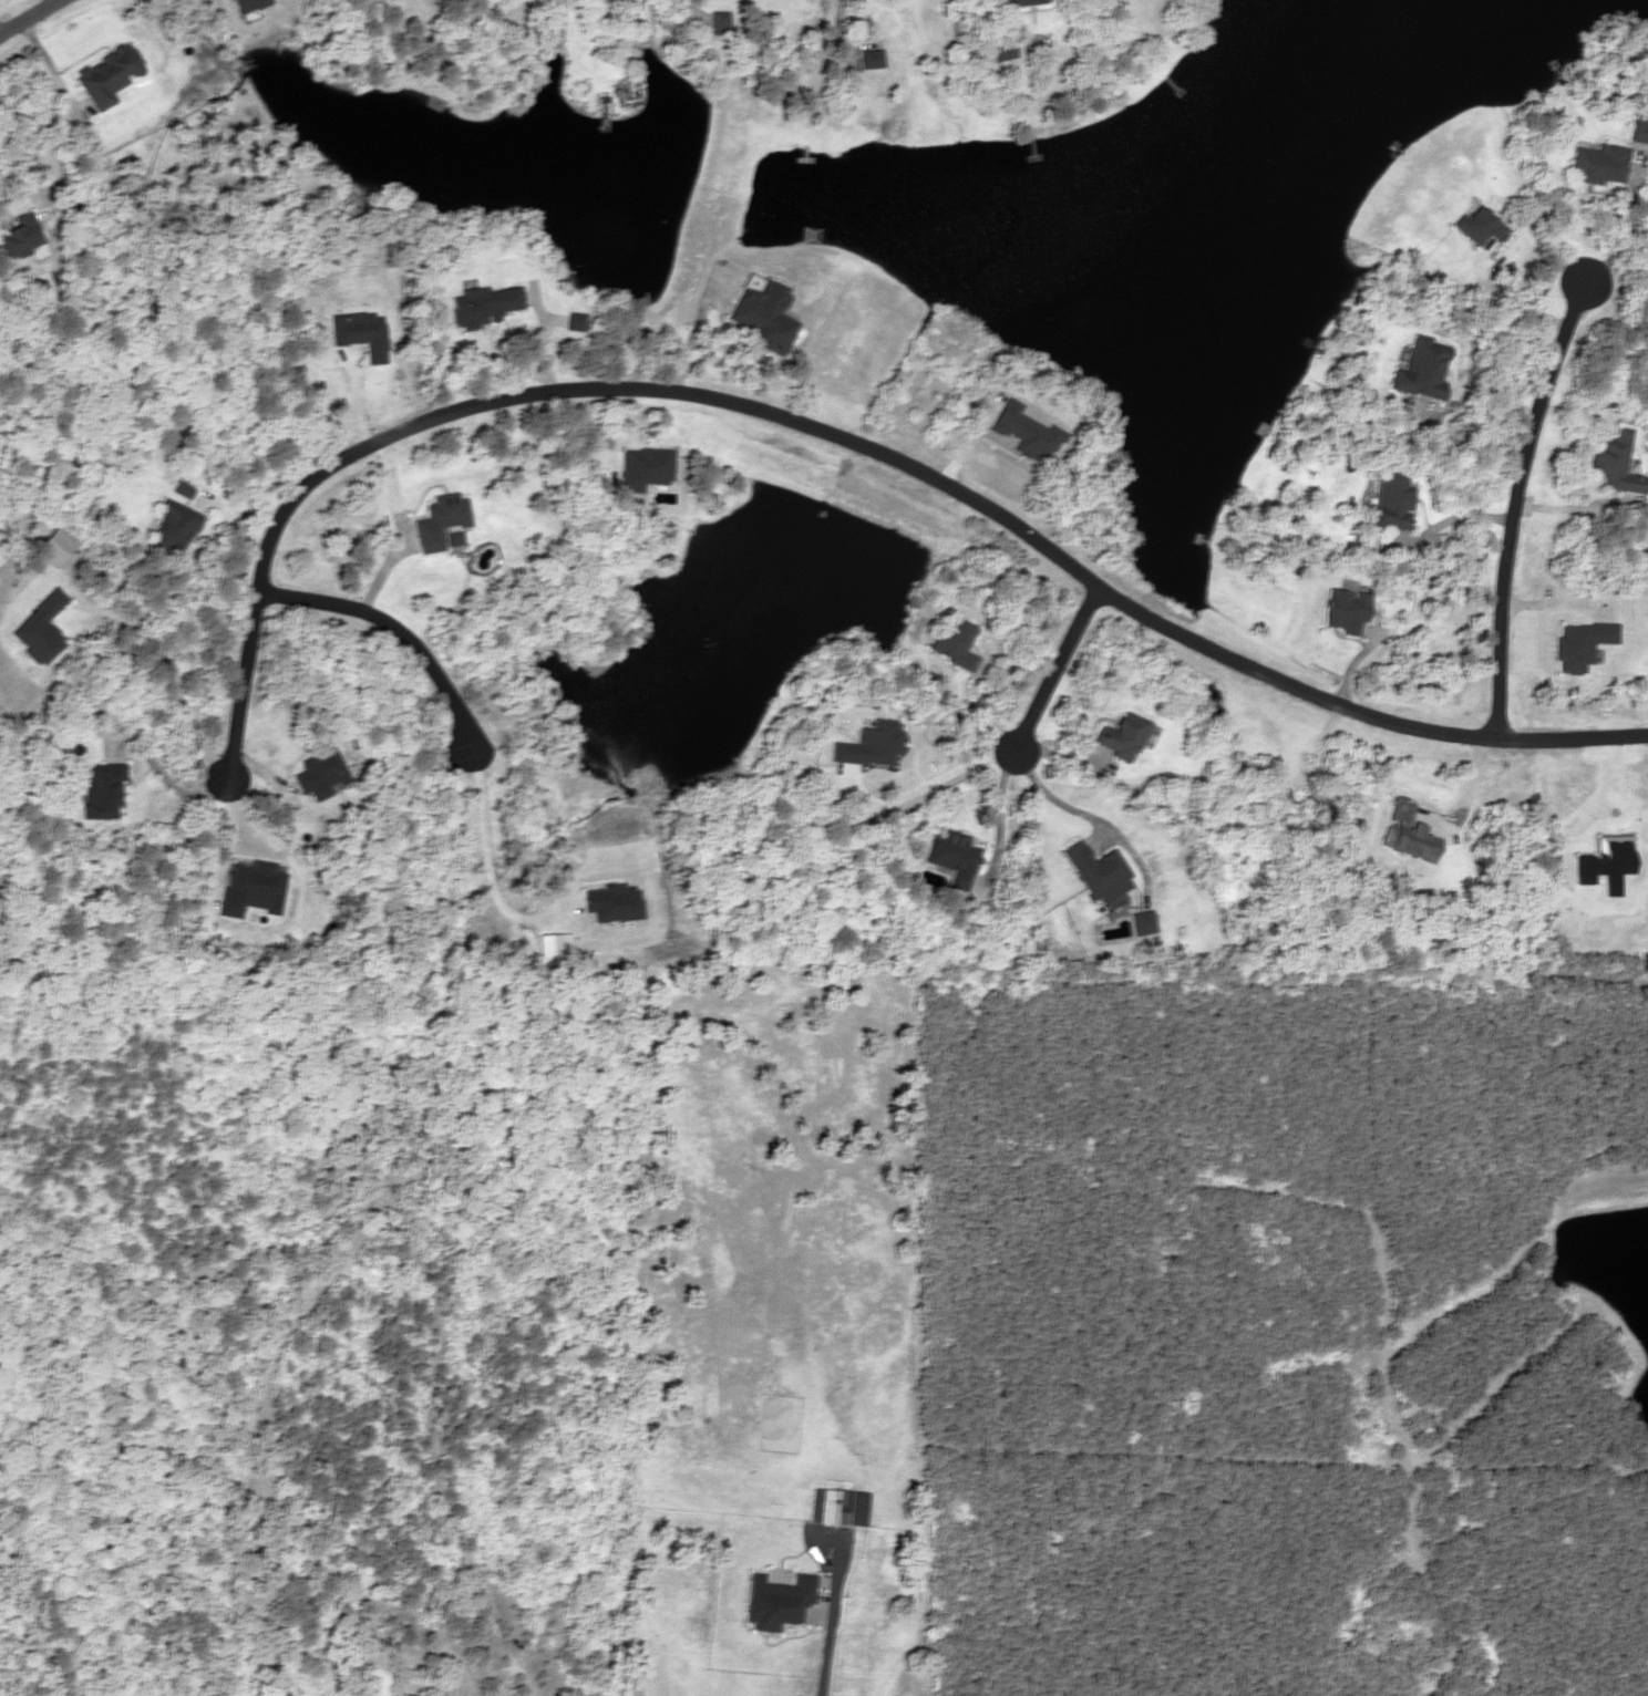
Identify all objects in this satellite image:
building: (1018, 1)
road: (28, 15)
building: (715, 22)
building: (999, 50)
building: (868, 58)
building: (105, 75)
building: (1637, 131)
building: (1595, 164)
building: (1476, 226)
building: (19, 235)
building: (482, 306)
building: (761, 313)
building: (573, 321)
road: (844, 439)
building: (1614, 463)
building: (179, 490)
building: (1389, 500)
road: (1514, 506)
building: (437, 520)
building: (171, 526)
building: (1342, 610)
road: (393, 629)
building: (951, 641)
road: (1052, 665)
building: (1119, 734)
building: (320, 774)
building: (101, 789)
building: (951, 856)
building: (1102, 878)
building: (1142, 922)
building: (836, 1508)
building: (502, 1689)

